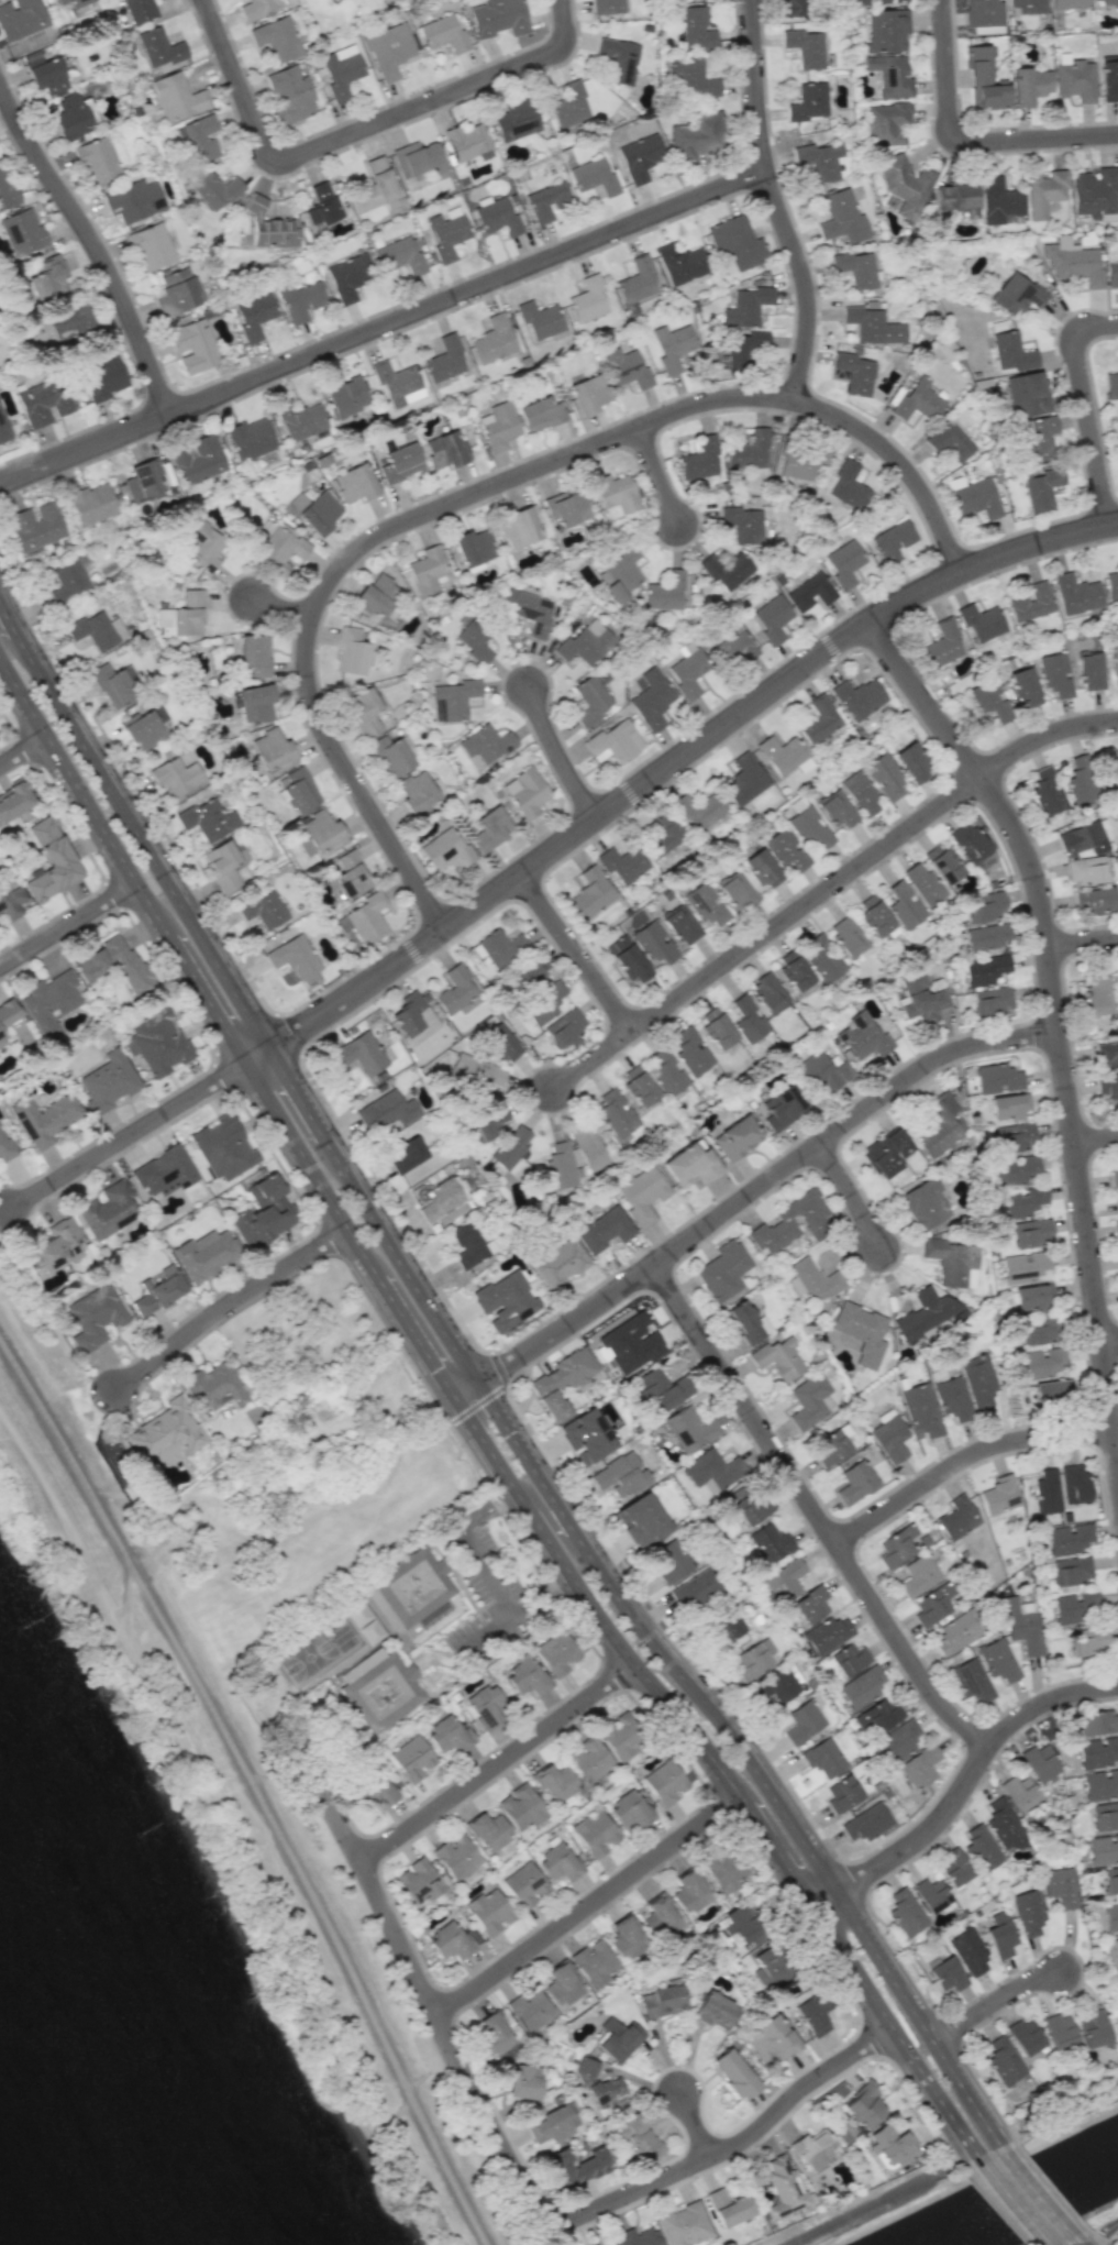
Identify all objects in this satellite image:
building: (889, 0)
building: (856, 1)
building: (74, 2)
building: (1069, 3)
building: (1109, 3)
building: (1028, 5)
building: (608, 7)
building: (793, 8)
building: (255, 9)
building: (140, 10)
building: (983, 12)
building: (20, 18)
building: (498, 18)
building: (696, 29)
building: (886, 31)
building: (443, 33)
building: (277, 37)
building: (806, 47)
building: (158, 48)
building: (389, 49)
building: (619, 59)
building: (341, 70)
building: (46, 75)
building: (889, 75)
building: (695, 78)
building: (1108, 78)
building: (1075, 79)
building: (984, 80)
building: (1028, 85)
building: (289, 95)
building: (177, 97)
building: (808, 102)
building: (569, 106)
building: (69, 115)
building: (514, 121)
building: (887, 122)
road: (356, 130)
building: (698, 134)
building: (201, 137)
building: (468, 142)
road: (962, 145)
building: (640, 157)
building: (418, 159)
building: (819, 161)
building: (595, 176)
building: (904, 185)
building: (375, 188)
building: (7, 189)
building: (214, 189)
building: (1044, 191)
building: (1096, 194)
building: (956, 198)
building: (134, 200)
building: (997, 200)
building: (547, 201)
road: (774, 201)
building: (322, 205)
building: (498, 217)
building: (841, 218)
building: (269, 225)
building: (22, 231)
building: (446, 231)
road: (96, 242)
building: (737, 242)
building: (152, 246)
building: (399, 255)
building: (1072, 262)
building: (680, 263)
building: (857, 269)
building: (1111, 274)
building: (348, 277)
building: (47, 278)
building: (637, 280)
building: (176, 293)
building: (1016, 295)
building: (587, 299)
building: (300, 300)
building: (746, 306)
building: (254, 315)
building: (540, 320)
building: (68, 322)
building: (872, 326)
road: (381, 327)
building: (492, 340)
building: (193, 345)
building: (672, 345)
building: (744, 349)
building: (1011, 352)
building: (444, 360)
building: (626, 367)
building: (855, 373)
building: (102, 378)
building: (398, 384)
building: (1110, 384)
building: (346, 395)
building: (587, 395)
building: (1027, 395)
building: (918, 400)
building: (43, 401)
road: (1084, 409)
building: (540, 414)
building: (300, 421)
building: (499, 426)
building: (3, 428)
building: (1039, 438)
building: (250, 439)
building: (949, 440)
building: (1117, 445)
building: (444, 450)
building: (749, 450)
building: (197, 460)
building: (699, 460)
building: (800, 461)
building: (399, 462)
road: (656, 478)
building: (143, 480)
building: (354, 483)
building: (846, 486)
road: (484, 488)
building: (1041, 489)
building: (616, 495)
building: (976, 498)
building: (90, 504)
building: (566, 508)
building: (316, 510)
building: (742, 524)
building: (35, 526)
building: (520, 527)
building: (892, 541)
building: (204, 546)
building: (473, 547)
building: (280, 550)
building: (843, 562)
building: (622, 564)
building: (427, 570)
building: (726, 570)
building: (65, 580)
building: (1111, 583)
building: (612, 592)
building: (664, 592)
building: (810, 593)
building: (1076, 594)
building: (377, 595)
building: (1030, 602)
road: (272, 604)
building: (531, 612)
building: (182, 616)
road: (7, 618)
building: (771, 618)
building: (981, 623)
building: (97, 629)
building: (473, 641)
building: (585, 642)
building: (942, 643)
building: (734, 647)
building: (351, 652)
building: (254, 656)
building: (1114, 660)
building: (686, 669)
building: (1089, 670)
building: (1054, 674)
building: (112, 685)
building: (1023, 686)
building: (857, 697)
building: (453, 698)
building: (651, 698)
building: (590, 700)
building: (989, 701)
building: (255, 703)
building: (364, 712)
building: (819, 719)
building: (143, 729)
road: (1043, 736)
building: (615, 741)
building: (485, 744)
road: (22, 750)
building: (270, 750)
road: (553, 755)
road: (676, 755)
building: (784, 755)
building: (390, 756)
building: (911, 762)
building: (884, 775)
building: (176, 777)
building: (1081, 779)
building: (744, 780)
building: (1114, 780)
building: (298, 790)
building: (1047, 791)
building: (416, 792)
building: (525, 792)
building: (860, 794)
building: (13, 800)
road: (84, 800)
building: (698, 810)
building: (837, 810)
building: (208, 819)
building: (487, 828)
building: (810, 829)
building: (320, 835)
building: (661, 837)
building: (1083, 837)
road: (139, 840)
building: (972, 846)
building: (445, 849)
building: (786, 849)
building: (51, 860)
building: (224, 863)
building: (622, 863)
building: (943, 863)
building: (761, 868)
building: (1084, 870)
building: (351, 874)
building: (923, 884)
building: (735, 891)
building: (590, 893)
building: (11, 900)
building: (1094, 900)
building: (705, 904)
building: (904, 904)
building: (985, 905)
building: (264, 910)
building: (873, 915)
building: (367, 918)
road: (67, 923)
building: (680, 924)
road: (762, 932)
building: (848, 936)
building: (986, 936)
building: (653, 943)
road: (1081, 943)
building: (500, 947)
road: (574, 953)
building: (628, 959)
building: (822, 959)
building: (296, 960)
building: (113, 964)
building: (985, 969)
building: (794, 970)
building: (528, 977)
building: (455, 990)
building: (768, 992)
building: (1097, 995)
building: (919, 998)
road: (206, 999)
building: (49, 1002)
building: (993, 1002)
building: (541, 1012)
building: (8, 1013)
building: (412, 1019)
building: (749, 1019)
building: (565, 1028)
building: (717, 1028)
building: (862, 1037)
building: (1, 1038)
road: (1055, 1038)
building: (157, 1042)
building: (500, 1044)
building: (689, 1052)
road: (255, 1054)
building: (361, 1054)
building: (1107, 1055)
building: (666, 1071)
building: (821, 1071)
building: (476, 1072)
building: (998, 1078)
building: (107, 1082)
building: (1108, 1085)
building: (639, 1086)
road: (295, 1092)
building: (782, 1107)
building: (1009, 1107)
building: (387, 1112)
building: (615, 1112)
building: (45, 1119)
building: (490, 1123)
building: (939, 1124)
road: (122, 1136)
building: (735, 1137)
building: (1012, 1137)
road: (1094, 1138)
building: (4, 1146)
building: (224, 1148)
building: (510, 1148)
building: (886, 1153)
building: (406, 1154)
building: (572, 1158)
building: (691, 1166)
road: (310, 1168)
building: (1015, 1169)
building: (163, 1173)
building: (1114, 1174)
building: (642, 1196)
road: (854, 1196)
road: (748, 1197)
building: (444, 1200)
building: (1022, 1201)
building: (1117, 1202)
building: (923, 1203)
building: (108, 1210)
building: (265, 1212)
building: (792, 1222)
building: (605, 1230)
building: (1115, 1230)
building: (1031, 1233)
building: (57, 1245)
building: (468, 1245)
building: (206, 1254)
building: (952, 1262)
building: (560, 1264)
building: (1025, 1266)
building: (723, 1270)
building: (815, 1280)
building: (159, 1290)
building: (1031, 1297)
building: (505, 1301)
road: (222, 1308)
building: (926, 1312)
building: (95, 1317)
building: (748, 1322)
building: (1039, 1330)
building: (861, 1333)
road: (416, 1338)
road: (1107, 1341)
building: (778, 1358)
building: (1042, 1363)
building: (978, 1379)
building: (562, 1382)
building: (213, 1387)
building: (662, 1390)
building: (1049, 1391)
building: (952, 1398)
building: (810, 1401)
building: (921, 1410)
building: (688, 1429)
building: (166, 1433)
building: (585, 1435)
building: (889, 1435)
building: (832, 1450)
road: (961, 1460)
building: (711, 1471)
building: (619, 1475)
building: (854, 1483)
building: (1074, 1484)
building: (1047, 1490)
building: (999, 1495)
building: (748, 1505)
road: (816, 1510)
building: (956, 1518)
building: (640, 1520)
road: (555, 1525)
building: (1069, 1539)
building: (770, 1543)
building: (896, 1545)
road: (473, 1551)
building: (668, 1561)
building: (1072, 1571)
building: (918, 1575)
building: (784, 1580)
building: (414, 1587)
building: (695, 1589)
road: (542, 1595)
building: (810, 1604)
building: (932, 1604)
road: (593, 1607)
building: (1076, 1607)
building: (363, 1622)
building: (1020, 1626)
building: (730, 1627)
road: (486, 1632)
building: (955, 1632)
building: (828, 1635)
building: (1088, 1643)
road: (653, 1646)
building: (556, 1653)
park: (308, 1657)
building: (752, 1659)
building: (849, 1659)
building: (998, 1660)
building: (525, 1679)
building: (972, 1680)
building: (775, 1687)
building: (862, 1687)
building: (380, 1690)
building: (486, 1705)
building: (878, 1715)
building: (804, 1720)
building: (1097, 1723)
building: (450, 1735)
building: (620, 1737)
building: (898, 1740)
building: (1097, 1752)
building: (411, 1758)
building: (822, 1758)
building: (590, 1761)
building: (1039, 1762)
road: (496, 1763)
building: (920, 1765)
building: (555, 1782)
building: (664, 1782)
building: (1100, 1784)
road: (965, 1787)
road: (253, 1789)
building: (377, 1792)
building: (1019, 1792)
building: (842, 1793)
building: (521, 1807)
building: (629, 1809)
building: (1105, 1815)
building: (866, 1823)
building: (1004, 1825)
building: (488, 1830)
building: (595, 1833)
building: (982, 1848)
building: (1103, 1849)
building: (456, 1856)
road: (781, 1856)
building: (556, 1861)
building: (954, 1868)
building: (726, 1871)
building: (1110, 1879)
building: (419, 1880)
building: (523, 1884)
building: (1059, 1886)
building: (689, 1891)
building: (930, 1894)
road: (587, 1904)
building: (488, 1912)
building: (906, 1912)
building: (1028, 1912)
building: (660, 1917)
building: (1110, 1917)
building: (739, 1926)
building: (999, 1935)
building: (626, 1938)
building: (453, 1940)
building: (970, 1951)
building: (1116, 1951)
building: (595, 1962)
building: (771, 1966)
building: (948, 1974)
building: (562, 1984)
building: (662, 2001)
road: (993, 2002)
building: (531, 2010)
building: (715, 2011)
building: (811, 2015)
building: (1093, 2031)
building: (1059, 2032)
road: (895, 2033)
building: (494, 2035)
building: (1025, 2036)
building: (770, 2038)
building: (618, 2039)
building: (1001, 2058)
building: (734, 2073)
building: (520, 2082)
building: (599, 2086)
building: (863, 2105)
road: (1056, 2119)
building: (551, 2125)
road: (696, 2127)
building: (637, 2137)
river: (58, 2142)
building: (890, 2146)
building: (812, 2149)
building: (576, 2167)
road: (523, 2186)
building: (779, 2186)
road: (1034, 2196)
road: (885, 2200)
road: (1012, 2201)
building: (728, 2208)
building: (685, 2225)
road: (1099, 2233)
building: (637, 2237)
road: (1078, 2243)

